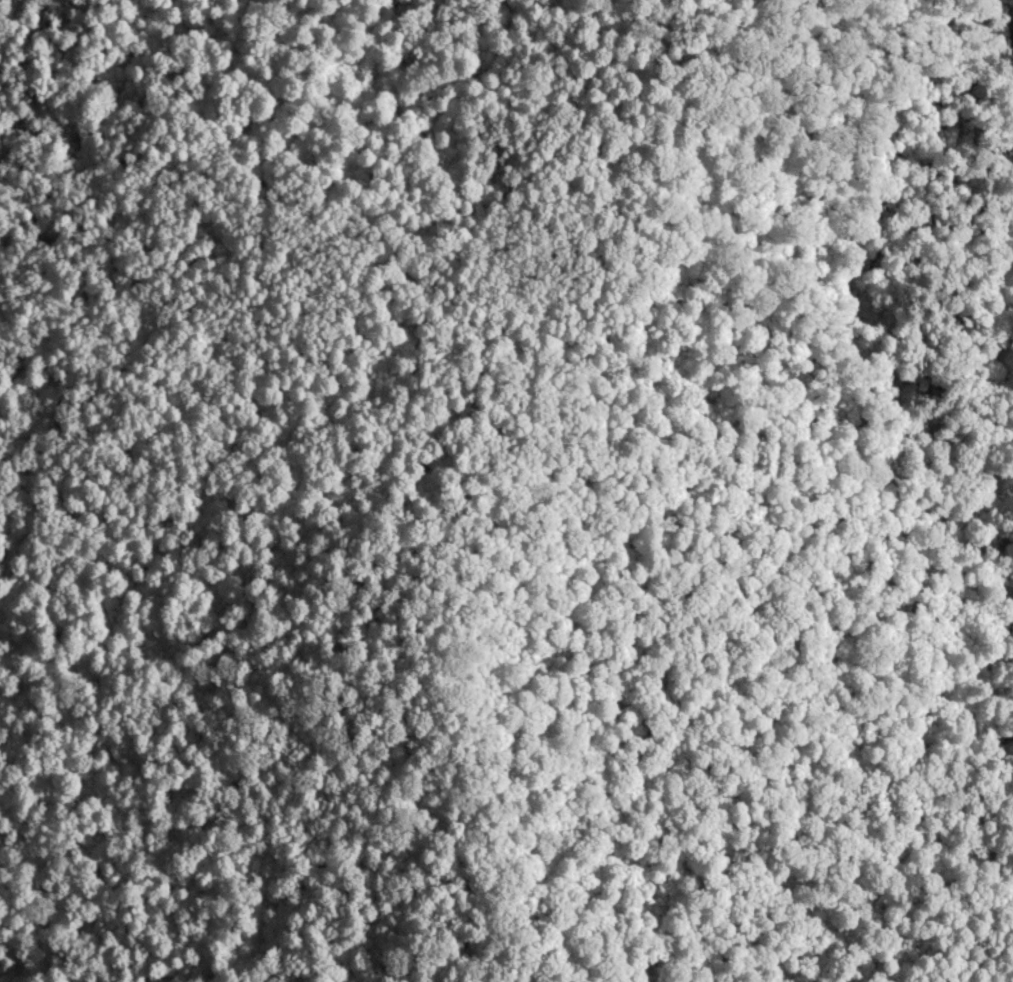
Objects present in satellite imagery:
railway: (997, 59)

